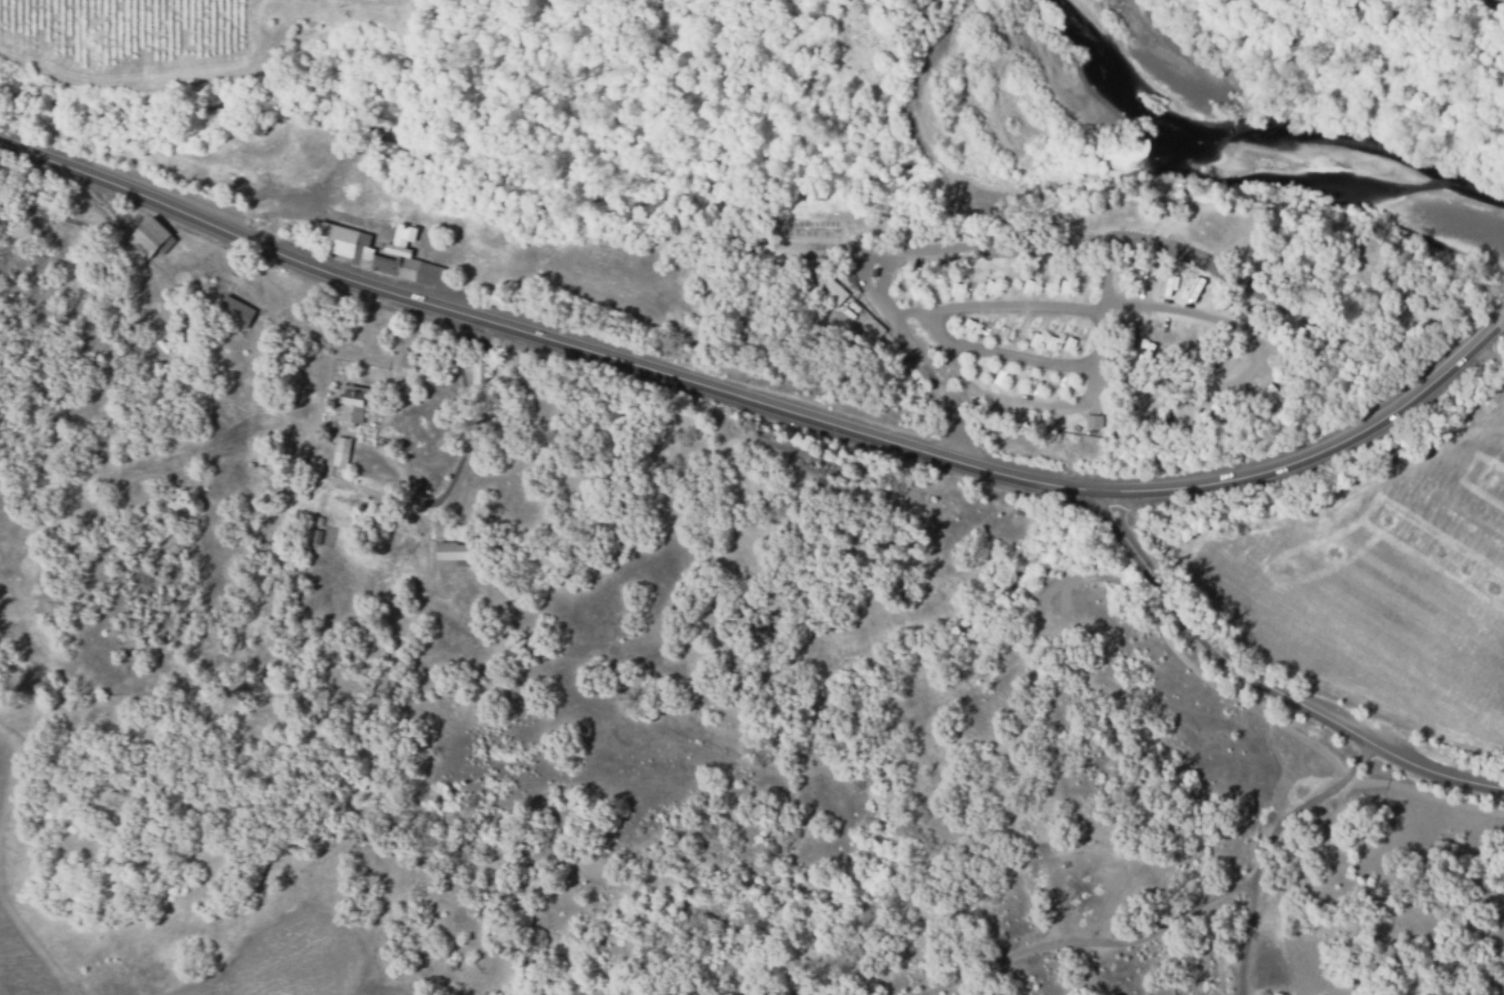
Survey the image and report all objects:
river: (1266, 153)
building: (408, 236)
building: (153, 239)
building: (339, 240)
building: (365, 251)
building: (401, 251)
building: (388, 266)
building: (428, 274)
building: (833, 294)
building: (237, 313)
building: (859, 316)
road: (1501, 324)
building: (131, 339)
building: (162, 345)
road: (1022, 356)
building: (158, 370)
building: (205, 374)
building: (480, 374)
building: (356, 404)
road: (757, 404)
building: (331, 405)
building: (1269, 405)
road: (1025, 406)
building: (1091, 421)
road: (469, 440)
building: (342, 452)
building: (318, 520)
building: (318, 537)
building: (454, 551)
road: (1269, 687)

